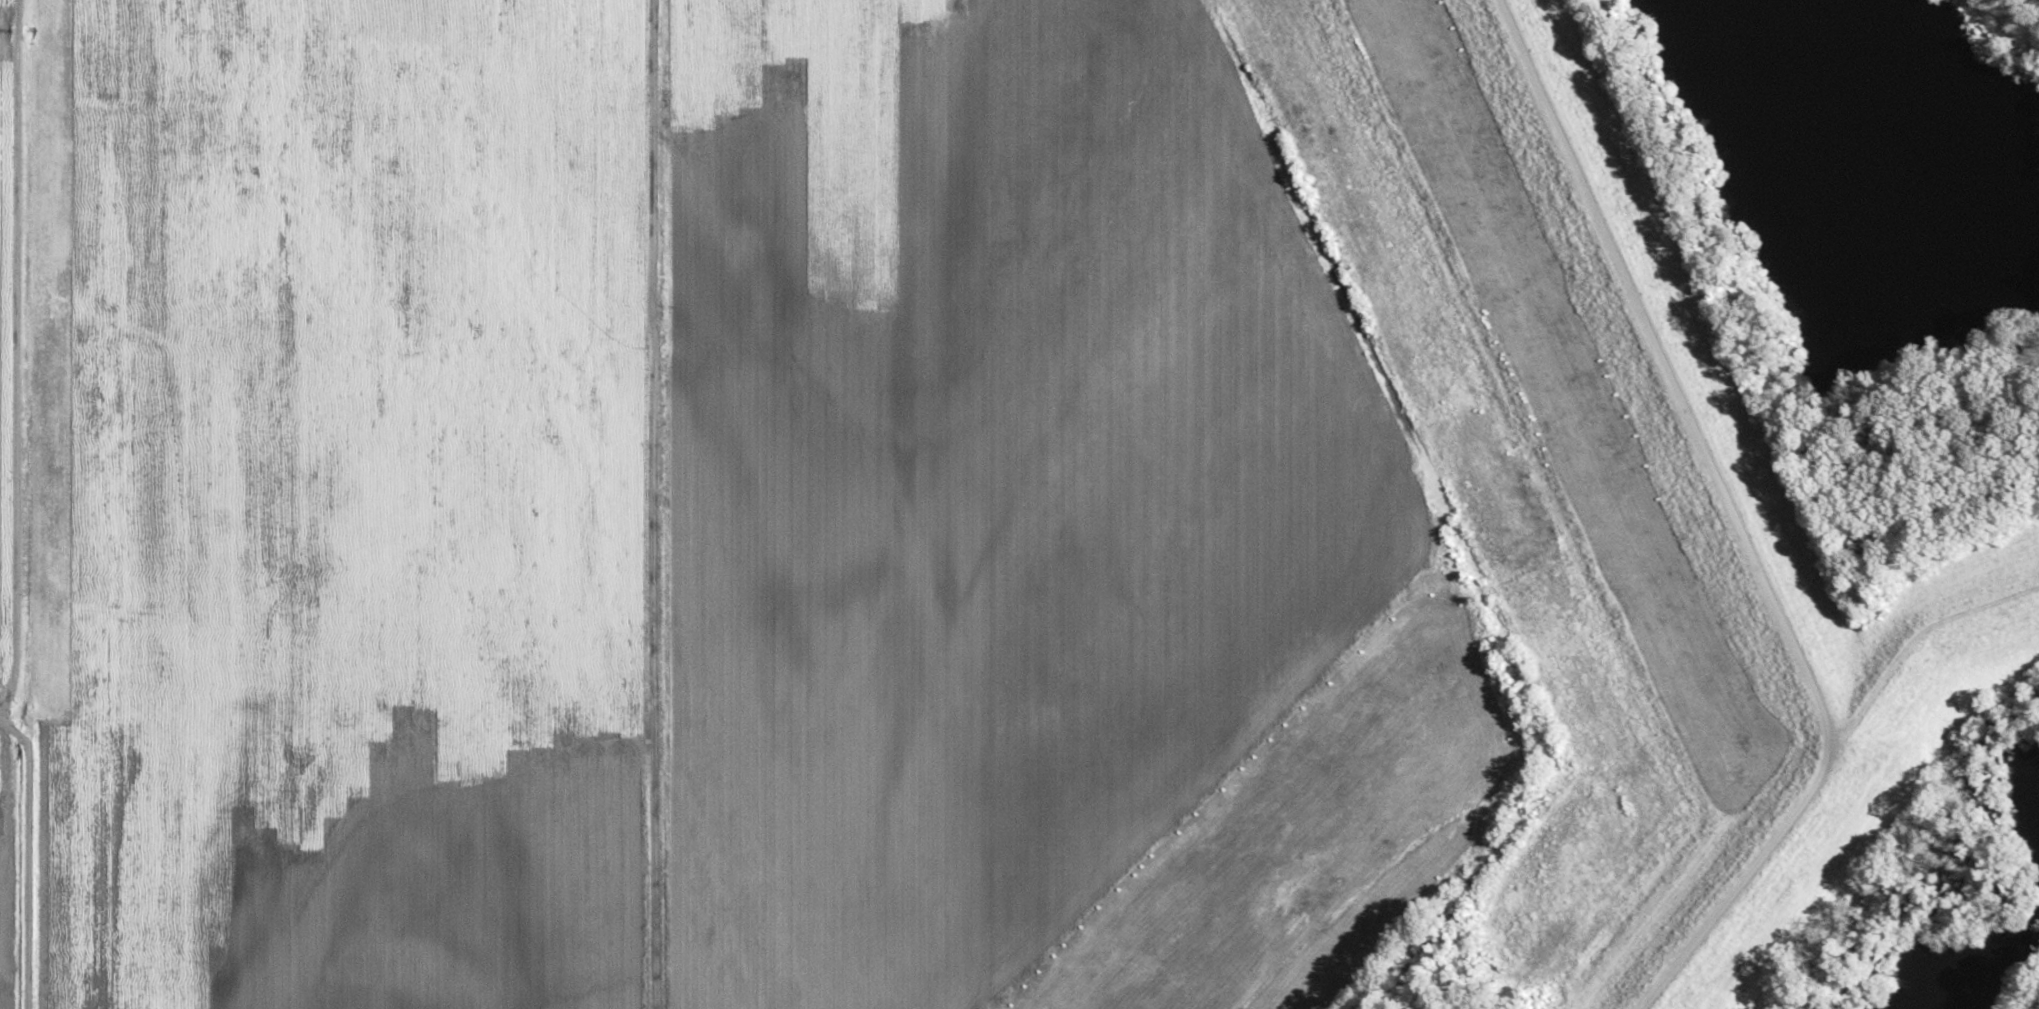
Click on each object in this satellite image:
road: (14, 321)
road: (28, 504)
road: (651, 504)
road: (1734, 520)
road: (1914, 640)
road: (326, 738)

